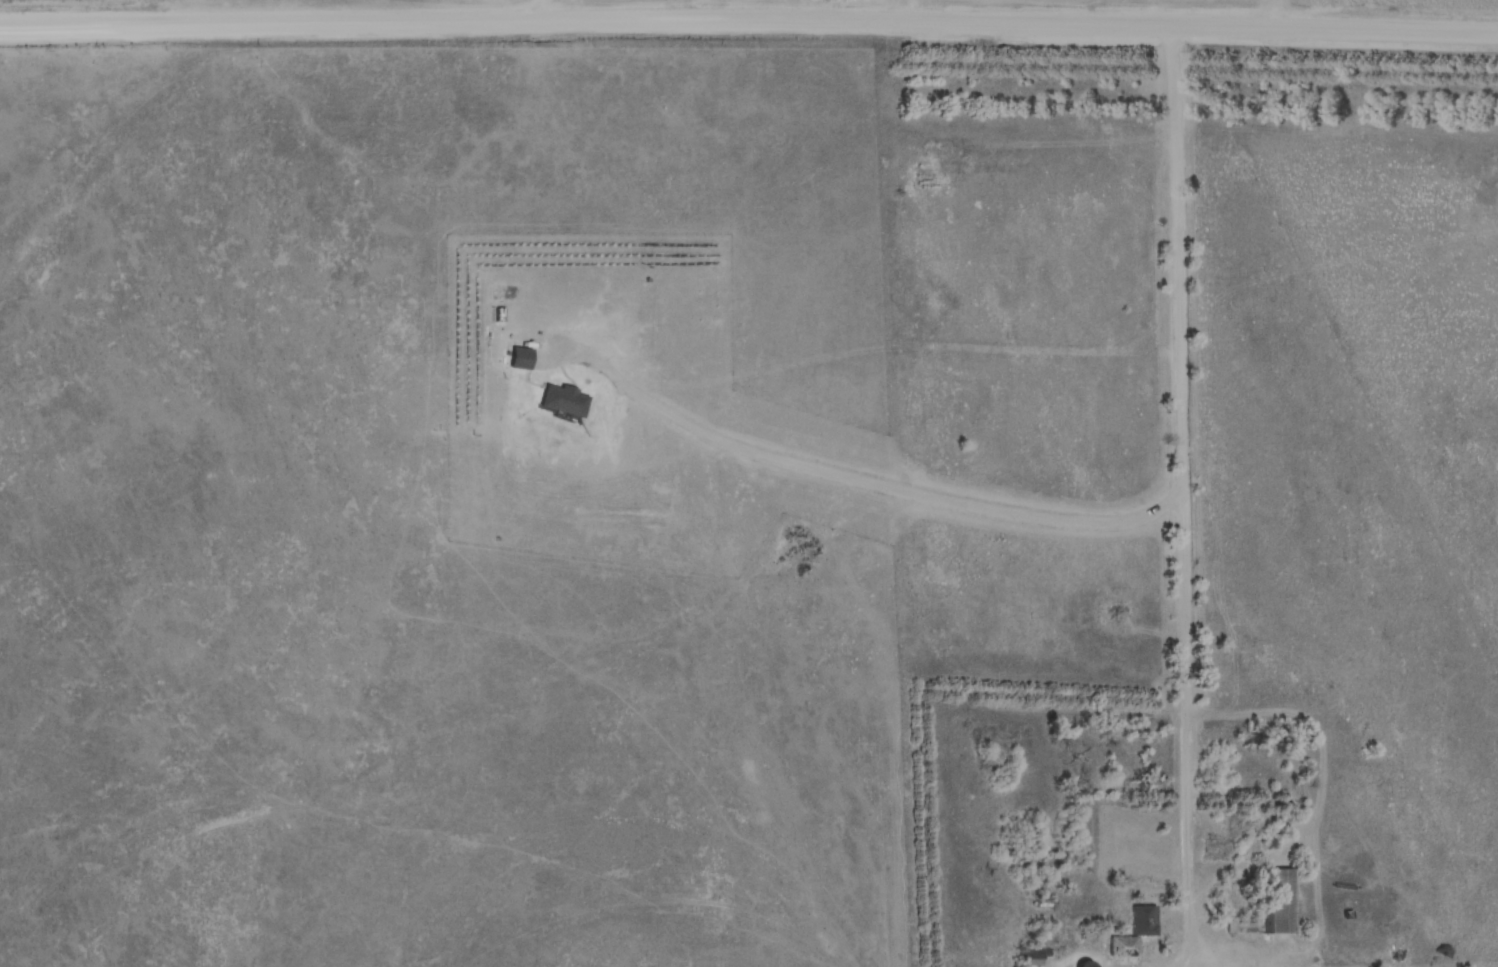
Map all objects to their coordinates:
road: (714, 10)
road: (911, 10)
road: (749, 20)
road: (1189, 498)
building: (1282, 901)
building: (1143, 920)
building: (1124, 946)
building: (1038, 956)
building: (1086, 964)

